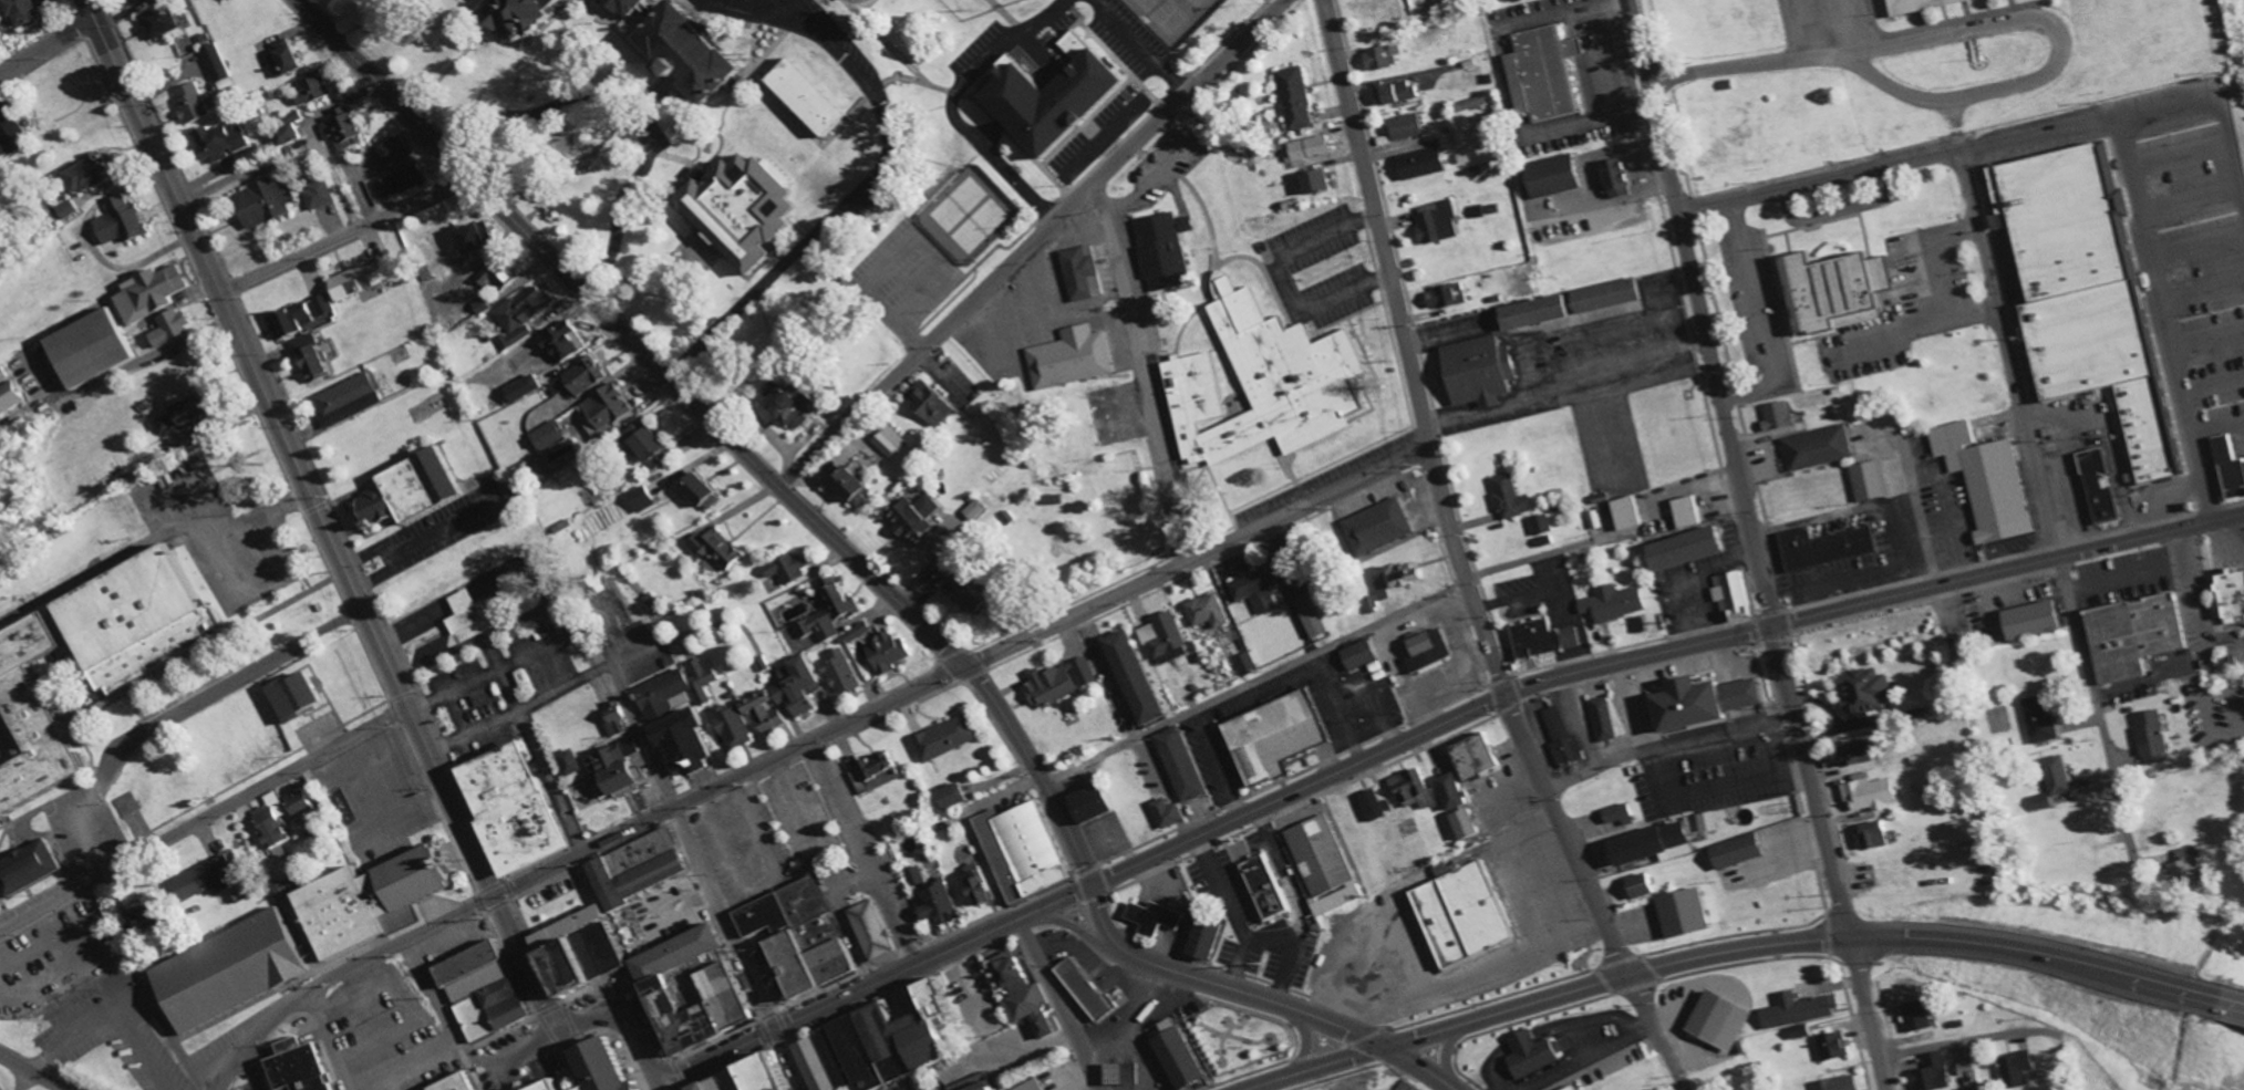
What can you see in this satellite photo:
building: (145, 1)
building: (1911, 4)
building: (638, 6)
building: (34, 11)
building: (531, 17)
building: (162, 22)
building: (188, 45)
building: (1077, 45)
road: (46, 50)
building: (701, 50)
building: (1376, 56)
building: (289, 59)
building: (219, 62)
building: (1537, 73)
building: (316, 86)
building: (1390, 92)
building: (816, 96)
building: (1057, 98)
building: (1289, 98)
building: (195, 102)
building: (1464, 105)
building: (1398, 126)
building: (292, 128)
building: (345, 128)
building: (12, 129)
building: (221, 142)
building: (399, 148)
building: (1303, 148)
building: (1414, 164)
building: (90, 174)
building: (1544, 176)
building: (1609, 178)
building: (402, 181)
building: (1307, 181)
road: (1811, 184)
building: (319, 195)
building: (265, 203)
building: (69, 208)
building: (749, 210)
building: (124, 221)
building: (1430, 222)
road: (1373, 224)
building: (478, 236)
road: (345, 237)
road: (1033, 242)
building: (1162, 252)
building: (1082, 274)
building: (362, 279)
building: (1832, 291)
building: (155, 292)
building: (2080, 292)
building: (1439, 295)
building: (1599, 295)
building: (324, 305)
building: (526, 312)
building: (1524, 312)
road: (1699, 312)
building: (292, 322)
building: (174, 326)
building: (556, 345)
building: (95, 347)
building: (316, 357)
building: (1071, 357)
road: (1142, 371)
building: (1471, 372)
building: (2, 374)
building: (581, 380)
building: (1266, 383)
building: (529, 387)
building: (10, 396)
building: (352, 398)
building: (933, 402)
building: (796, 405)
building: (199, 407)
building: (609, 408)
building: (1775, 416)
building: (165, 424)
road: (715, 426)
building: (550, 435)
building: (892, 442)
building: (652, 443)
building: (1814, 448)
building: (2227, 469)
building: (1866, 480)
building: (1984, 480)
building: (858, 486)
building: (2096, 486)
building: (704, 489)
building: (415, 490)
building: (1510, 497)
building: (643, 499)
building: (976, 510)
building: (1693, 511)
building: (1632, 512)
road: (318, 515)
building: (918, 515)
road: (2045, 516)
building: (1542, 525)
building: (1378, 527)
building: (1695, 547)
building: (1822, 547)
building: (721, 550)
road: (1196, 557)
building: (789, 569)
road: (1461, 573)
building: (1405, 574)
building: (971, 585)
building: (1258, 590)
building: (2229, 595)
building: (1736, 596)
building: (1616, 603)
building: (1208, 611)
building: (468, 612)
building: (830, 613)
building: (1313, 615)
building: (148, 619)
building: (2027, 620)
building: (2128, 636)
building: (1165, 637)
building: (1548, 639)
building: (1430, 651)
building: (892, 652)
road: (1651, 654)
building: (1363, 655)
building: (1245, 664)
building: (845, 673)
building: (1138, 677)
road: (1252, 682)
building: (1059, 683)
building: (1861, 692)
building: (301, 696)
building: (790, 696)
building: (1710, 702)
building: (684, 714)
building: (1607, 718)
building: (39, 719)
building: (2036, 720)
building: (618, 722)
building: (735, 726)
building: (1278, 736)
building: (1564, 736)
building: (2147, 736)
building: (949, 738)
building: (1860, 754)
building: (1482, 756)
building: (572, 762)
building: (1181, 765)
building: (620, 768)
building: (880, 774)
building: (2052, 776)
building: (1417, 790)
building: (1456, 791)
building: (1872, 795)
building: (959, 796)
building: (1096, 802)
building: (2037, 802)
building: (300, 803)
building: (1375, 806)
building: (520, 809)
building: (1168, 813)
building: (1622, 814)
road: (203, 819)
building: (1712, 821)
building: (273, 822)
building: (1471, 823)
building: (1874, 834)
building: (1662, 844)
building: (1027, 851)
building: (1743, 851)
road: (572, 857)
road: (1829, 857)
building: (1325, 865)
building: (2181, 866)
building: (31, 868)
building: (643, 869)
building: (918, 876)
building: (208, 878)
road: (709, 881)
building: (983, 885)
building: (1647, 885)
building: (1265, 887)
road: (1593, 894)
building: (378, 901)
building: (945, 904)
building: (1689, 913)
building: (1469, 914)
building: (148, 916)
building: (1156, 917)
building: (877, 931)
building: (805, 937)
building: (1209, 937)
road: (1797, 938)
building: (586, 953)
building: (237, 970)
road: (873, 983)
road: (1217, 983)
building: (734, 988)
building: (1087, 989)
building: (488, 992)
building: (1025, 993)
road: (2233, 995)
road: (1055, 1004)
building: (1801, 1010)
building: (1919, 1016)
building: (1726, 1020)
road: (628, 1025)
building: (1807, 1030)
road: (1306, 1038)
road: (327, 1040)
park: (1240, 1041)
building: (1837, 1047)
road: (520, 1050)
road: (1444, 1050)
building: (1537, 1053)
building: (1183, 1056)
road: (1417, 1065)
building: (821, 1066)
building: (265, 1067)
building: (301, 1067)
road: (1309, 1067)
building: (610, 1068)
building: (2018, 1069)
road: (31, 1072)
building: (1934, 1072)
building: (1118, 1073)
building: (743, 1075)
building: (779, 1075)
building: (464, 1082)
building: (1840, 1083)
building: (724, 1084)
building: (556, 1086)
building: (978, 1086)
building: (1037, 1086)
building: (1575, 1088)

